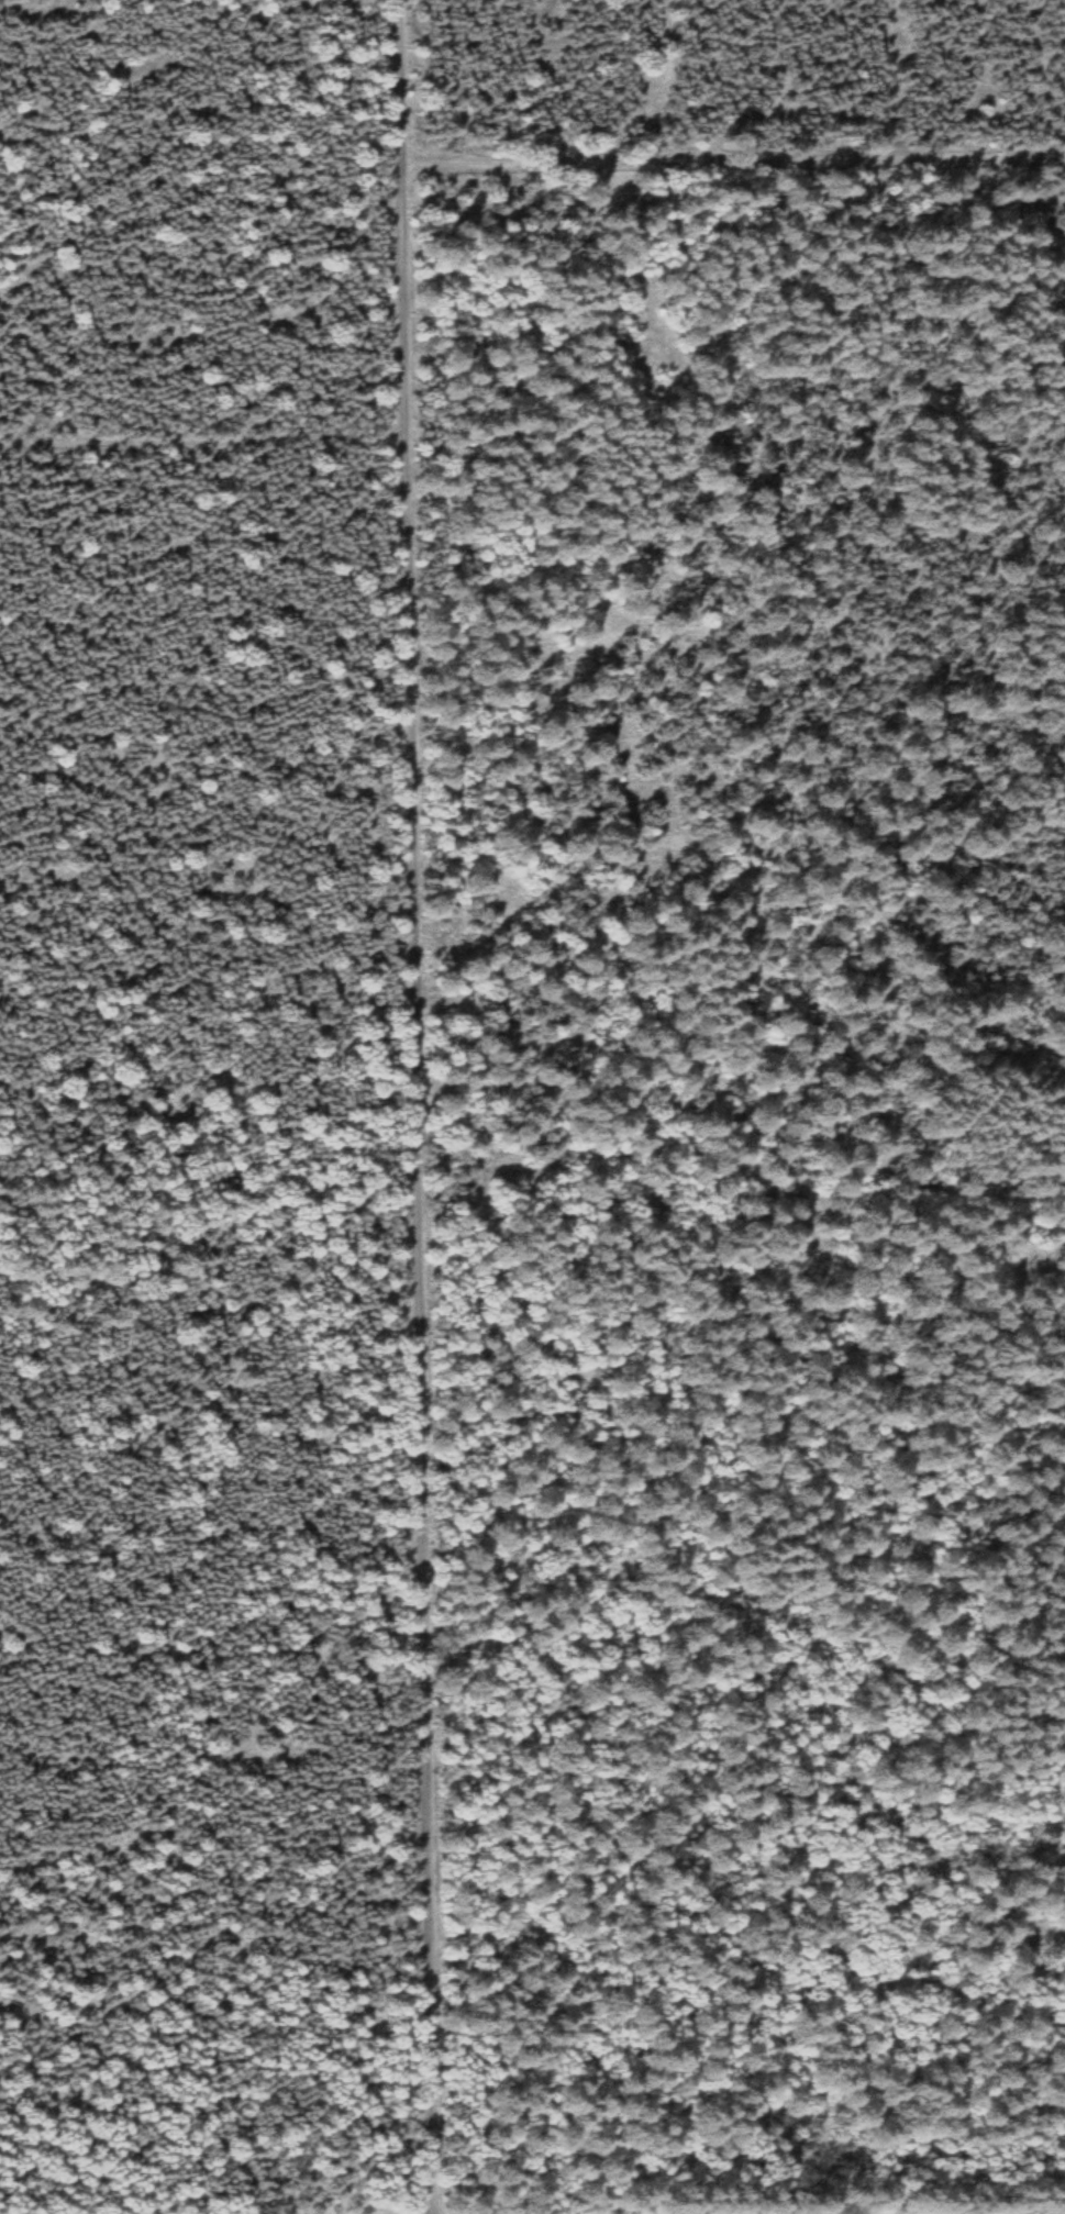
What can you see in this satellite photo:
road: (735, 166)
road: (202, 458)
road: (420, 1106)

